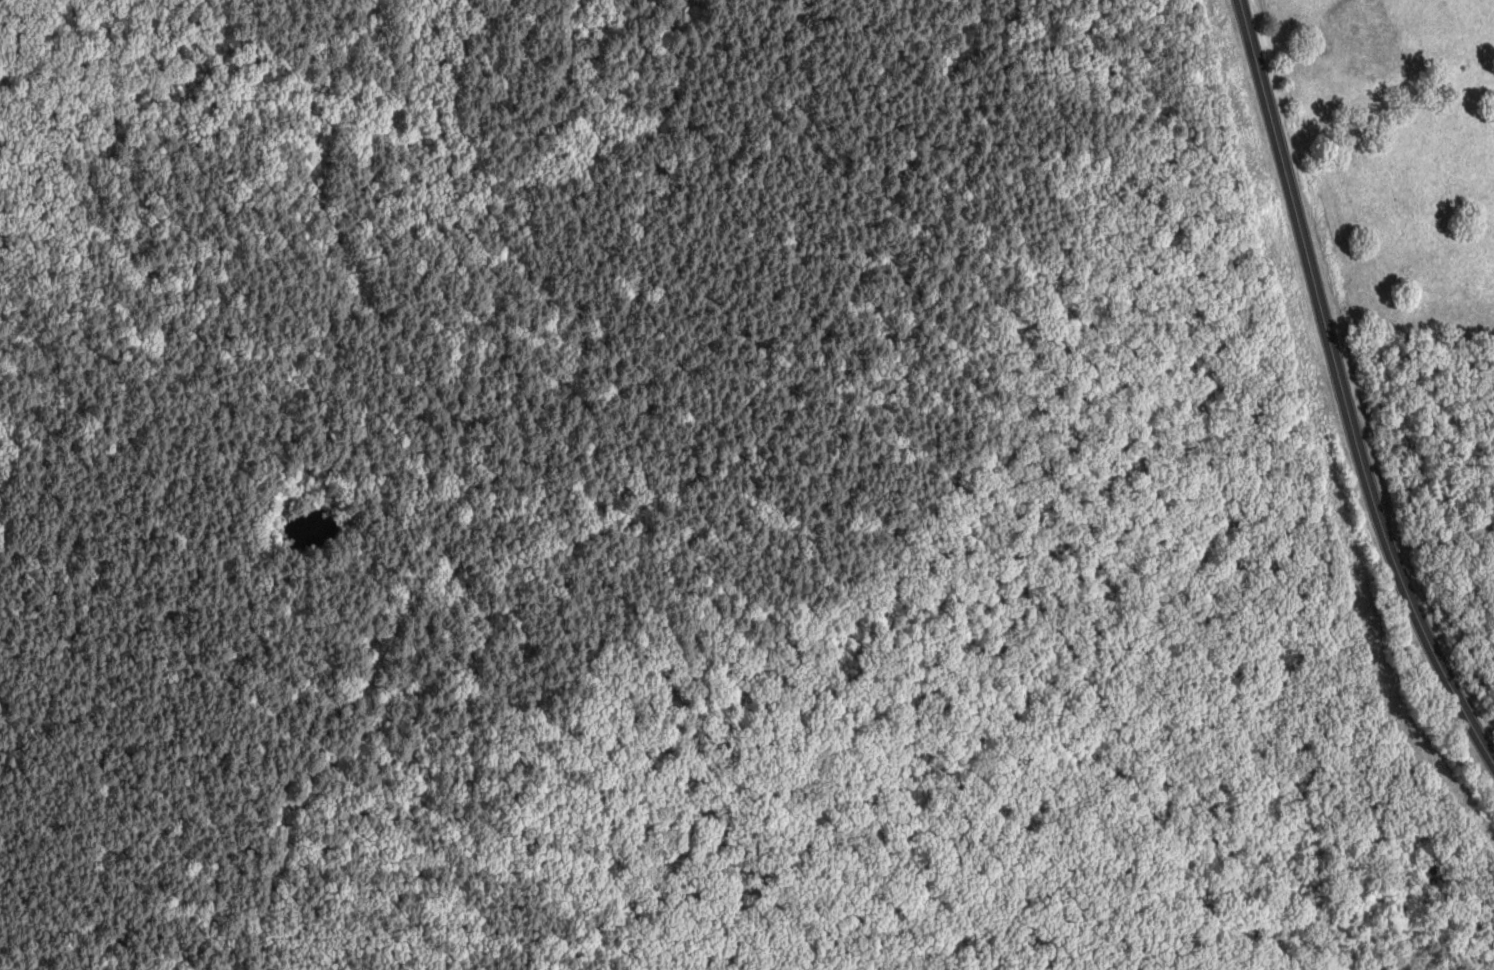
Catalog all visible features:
road: (1336, 393)

